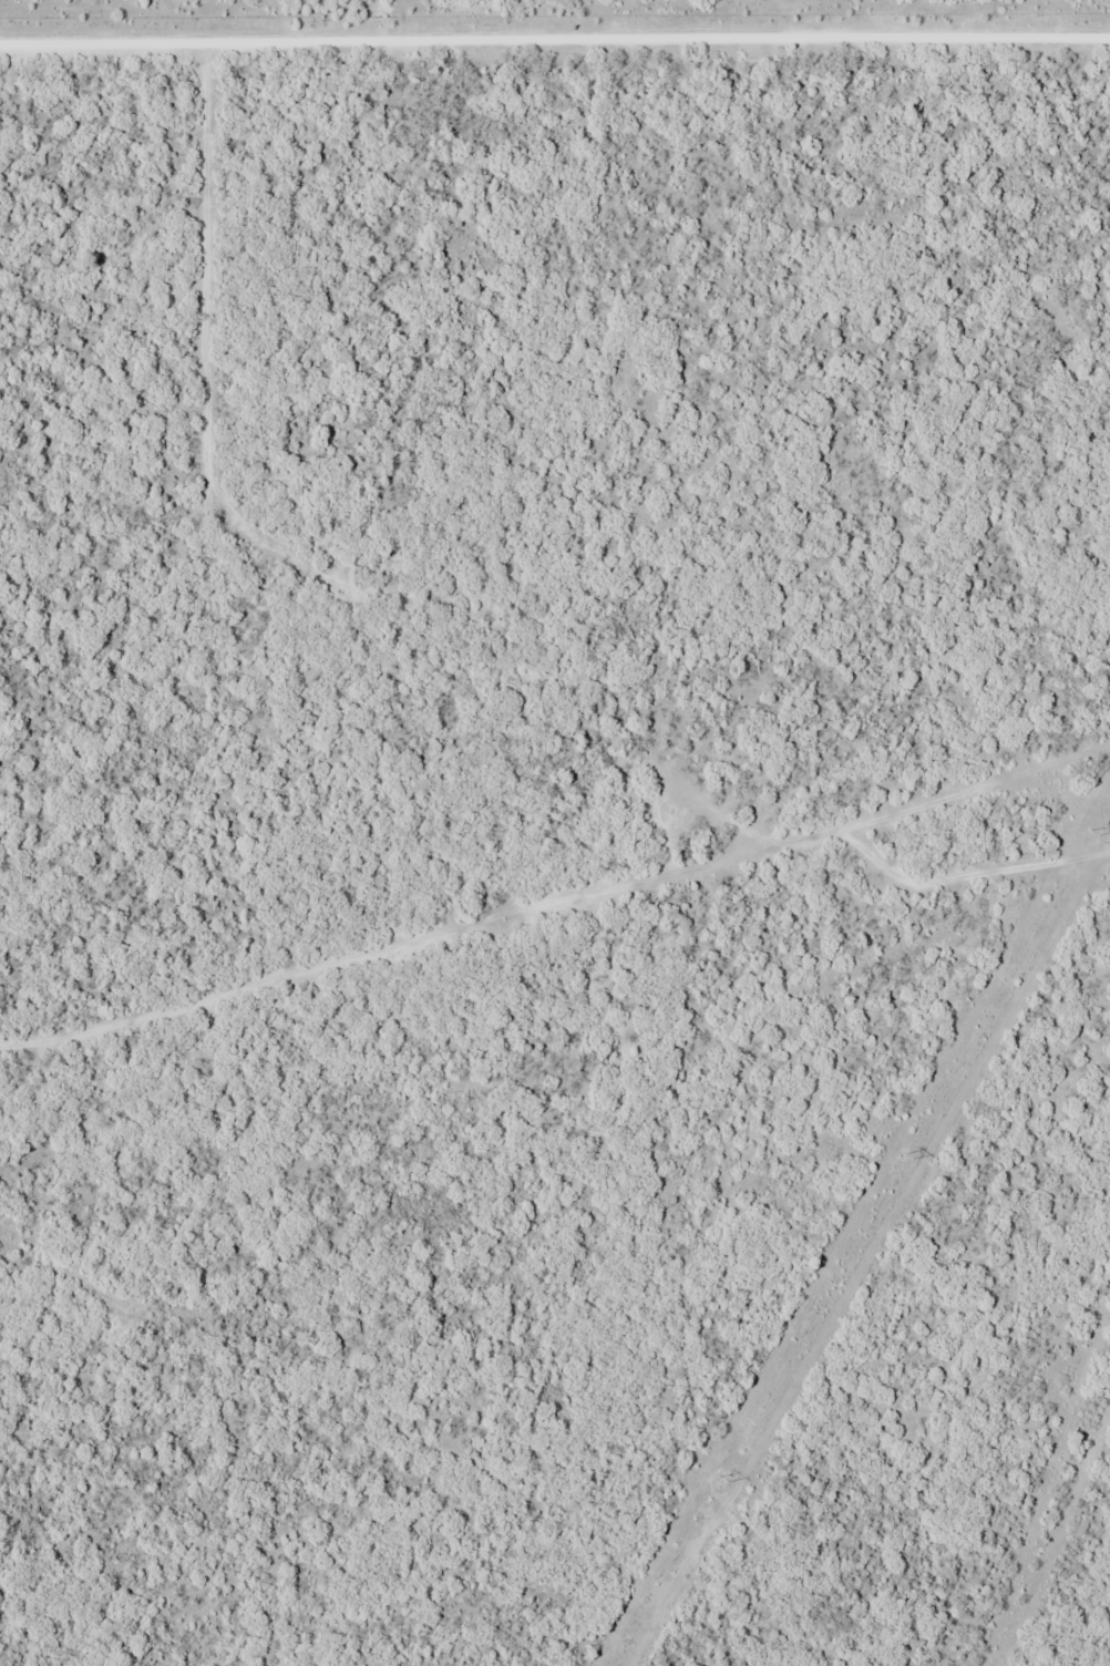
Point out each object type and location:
road: (555, 38)
power tower: (1093, 829)
power tower: (907, 1155)
power tower: (721, 1481)

